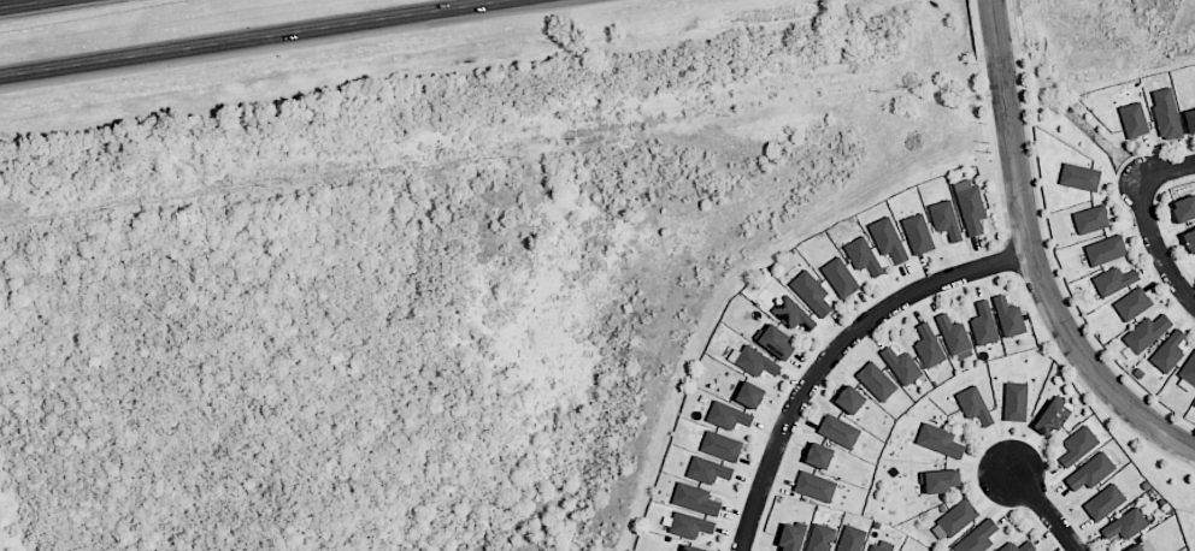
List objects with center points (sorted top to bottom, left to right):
road: (20, 2)
road: (491, 2)
road: (246, 36)
building: (1166, 114)
building: (1134, 119)
building: (1190, 120)
road: (1168, 167)
building: (1079, 177)
building: (970, 205)
building: (1184, 208)
building: (944, 219)
building: (1090, 219)
building: (918, 233)
building: (888, 239)
building: (1189, 239)
road: (1156, 248)
building: (1105, 250)
building: (863, 255)
road: (1031, 257)
building: (840, 277)
building: (1113, 280)
building: (811, 292)
building: (1132, 303)
building: (793, 314)
building: (1008, 316)
building: (983, 324)
building: (1146, 332)
building: (953, 334)
building: (775, 340)
building: (928, 345)
road: (832, 350)
building: (1168, 351)
building: (755, 362)
building: (901, 365)
building: (1188, 374)
building: (876, 380)
building: (749, 395)
building: (849, 397)
building: (1014, 401)
building: (973, 404)
building: (728, 415)
building: (1052, 416)
building: (838, 429)
building: (938, 440)
building: (722, 445)
building: (1078, 445)
building: (819, 454)
building: (707, 469)
building: (1090, 472)
building: (938, 480)
building: (816, 486)
building: (695, 498)
building: (1103, 502)
road: (1044, 510)
building: (956, 517)
building: (689, 525)
building: (1125, 525)
building: (793, 535)
building: (820, 537)
building: (977, 537)
building: (850, 539)
building: (1026, 543)
building: (882, 545)
building: (691, 547)
building: (1135, 547)

